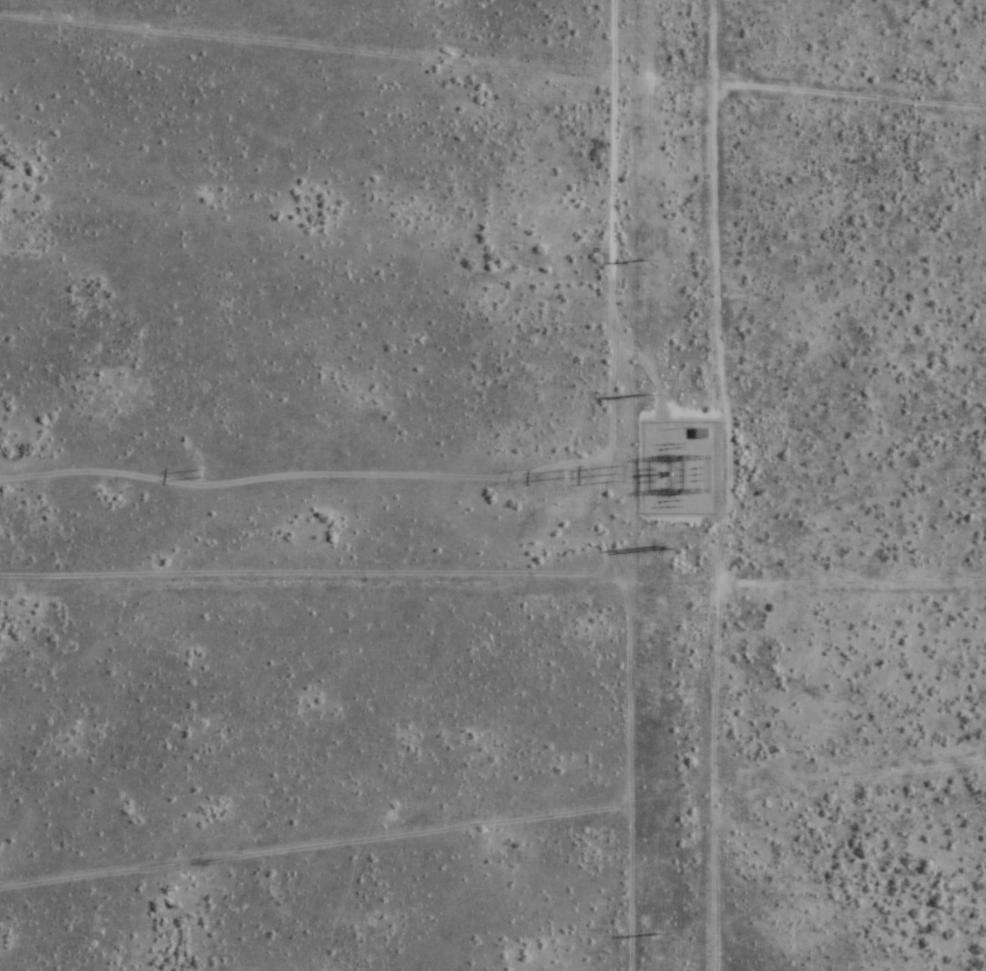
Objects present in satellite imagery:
power tower: (644, 259)
power tower: (644, 394)
power substation: (677, 467)
power tower: (203, 475)
power tower: (570, 476)
power tower: (623, 476)
power tower: (658, 550)
power tower: (654, 933)

